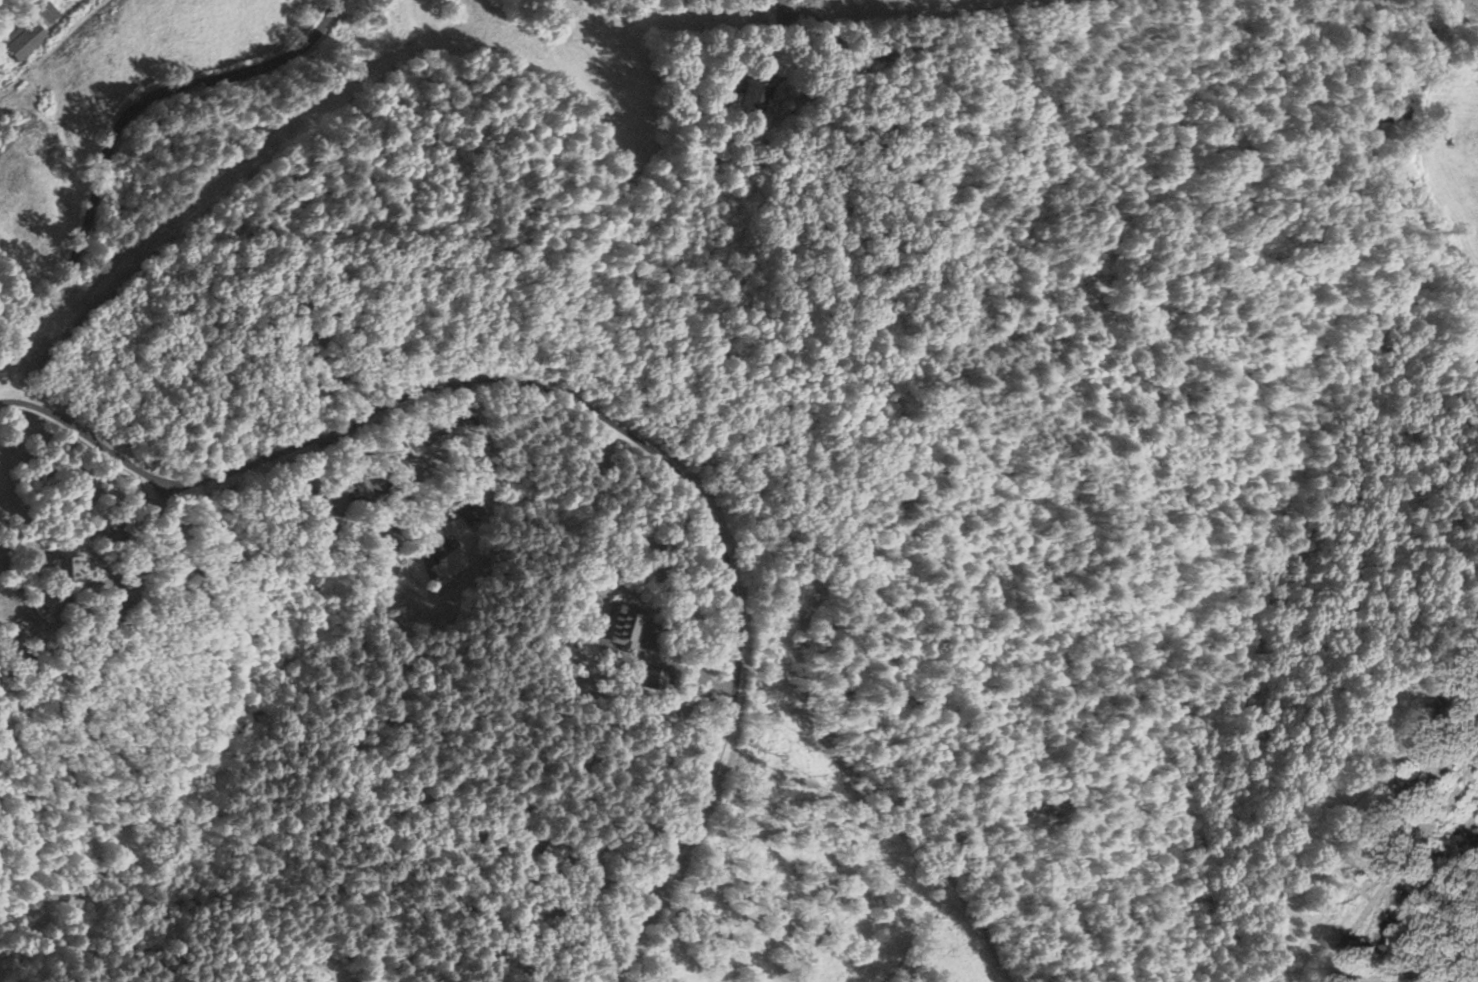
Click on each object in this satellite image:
building: (45, 13)
building: (25, 39)
building: (755, 97)
road: (116, 120)
road: (593, 407)
building: (414, 445)
building: (363, 490)
building: (334, 505)
building: (450, 566)
building: (74, 570)
building: (55, 604)
building: (628, 628)
building: (658, 680)
building: (556, 854)

